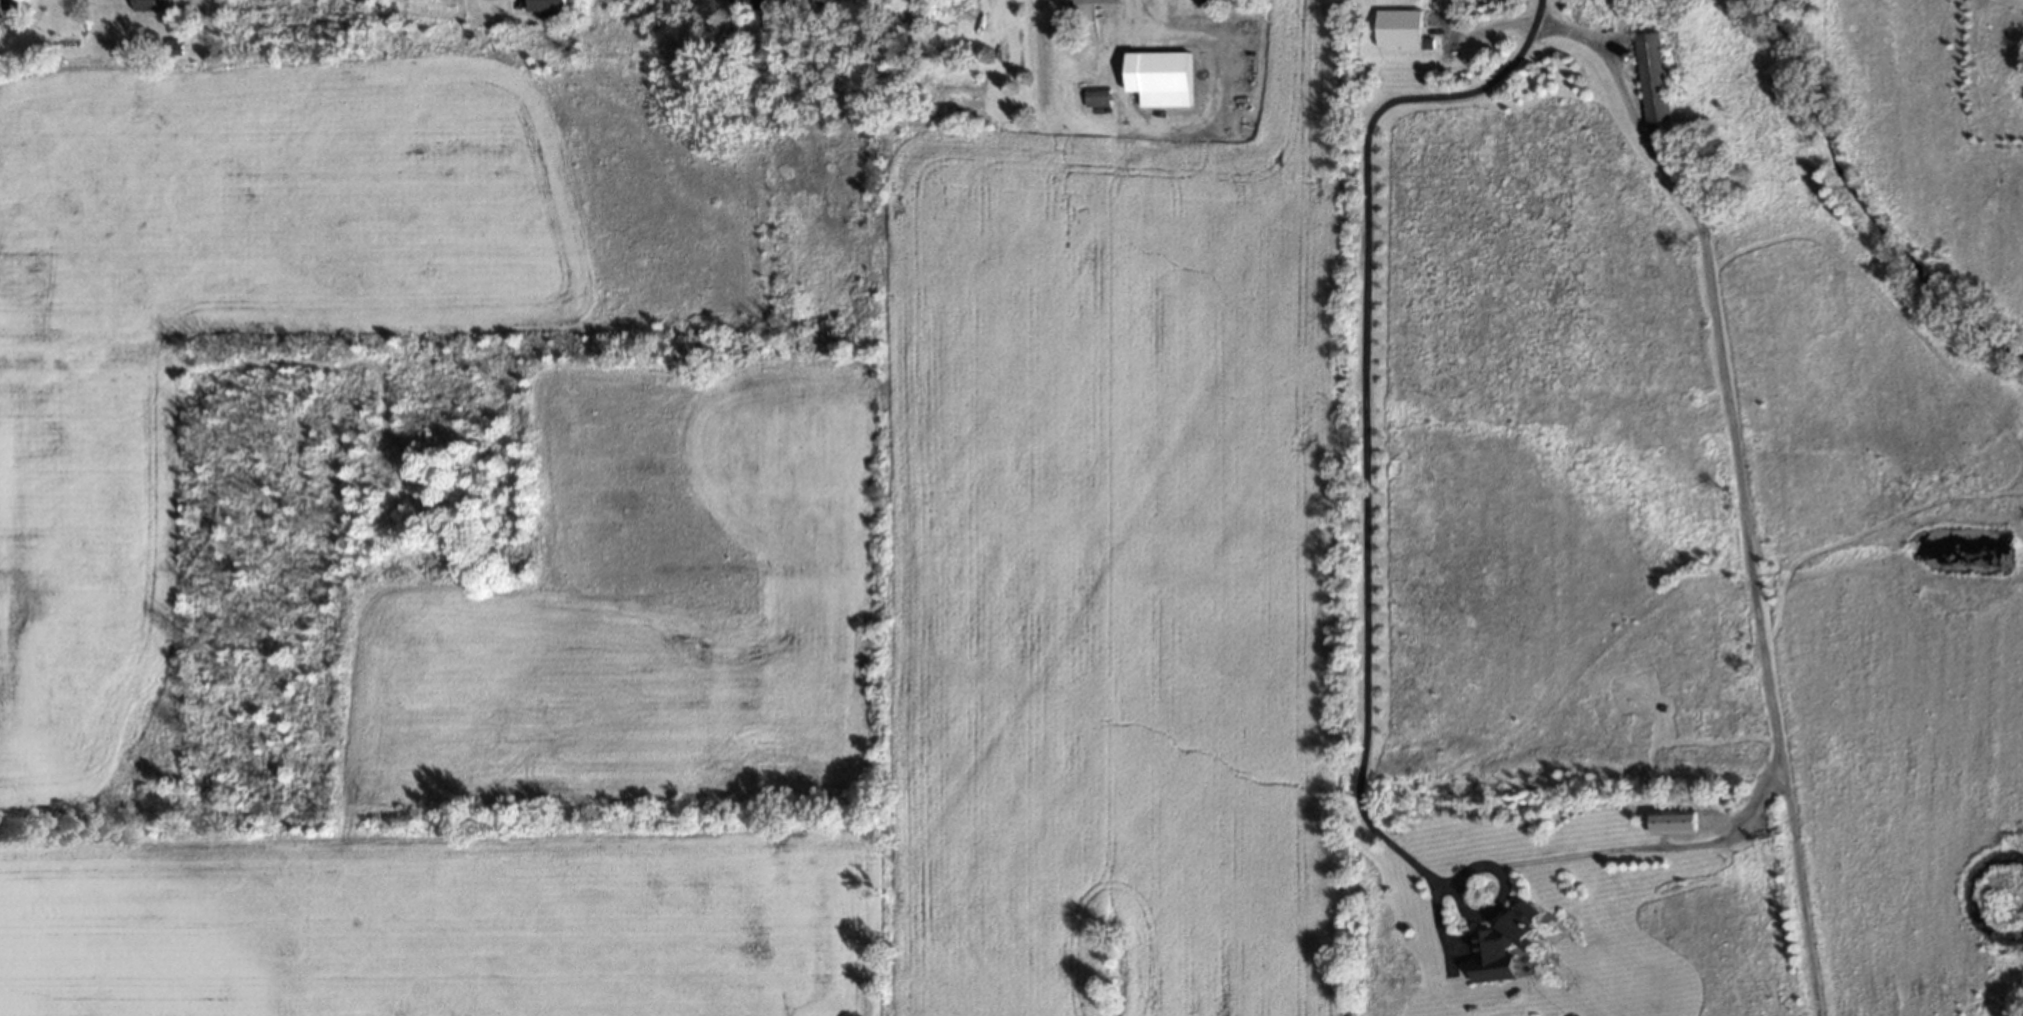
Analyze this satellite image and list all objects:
building: (925, 0)
building: (1090, 1)
building: (7, 4)
building: (149, 4)
building: (750, 4)
building: (545, 7)
building: (1396, 28)
building: (171, 47)
road: (1115, 73)
building: (1158, 78)
building: (1650, 78)
building: (1095, 97)
road: (1366, 410)
road: (1747, 517)
building: (1673, 820)
road: (1502, 897)
building: (1502, 945)

